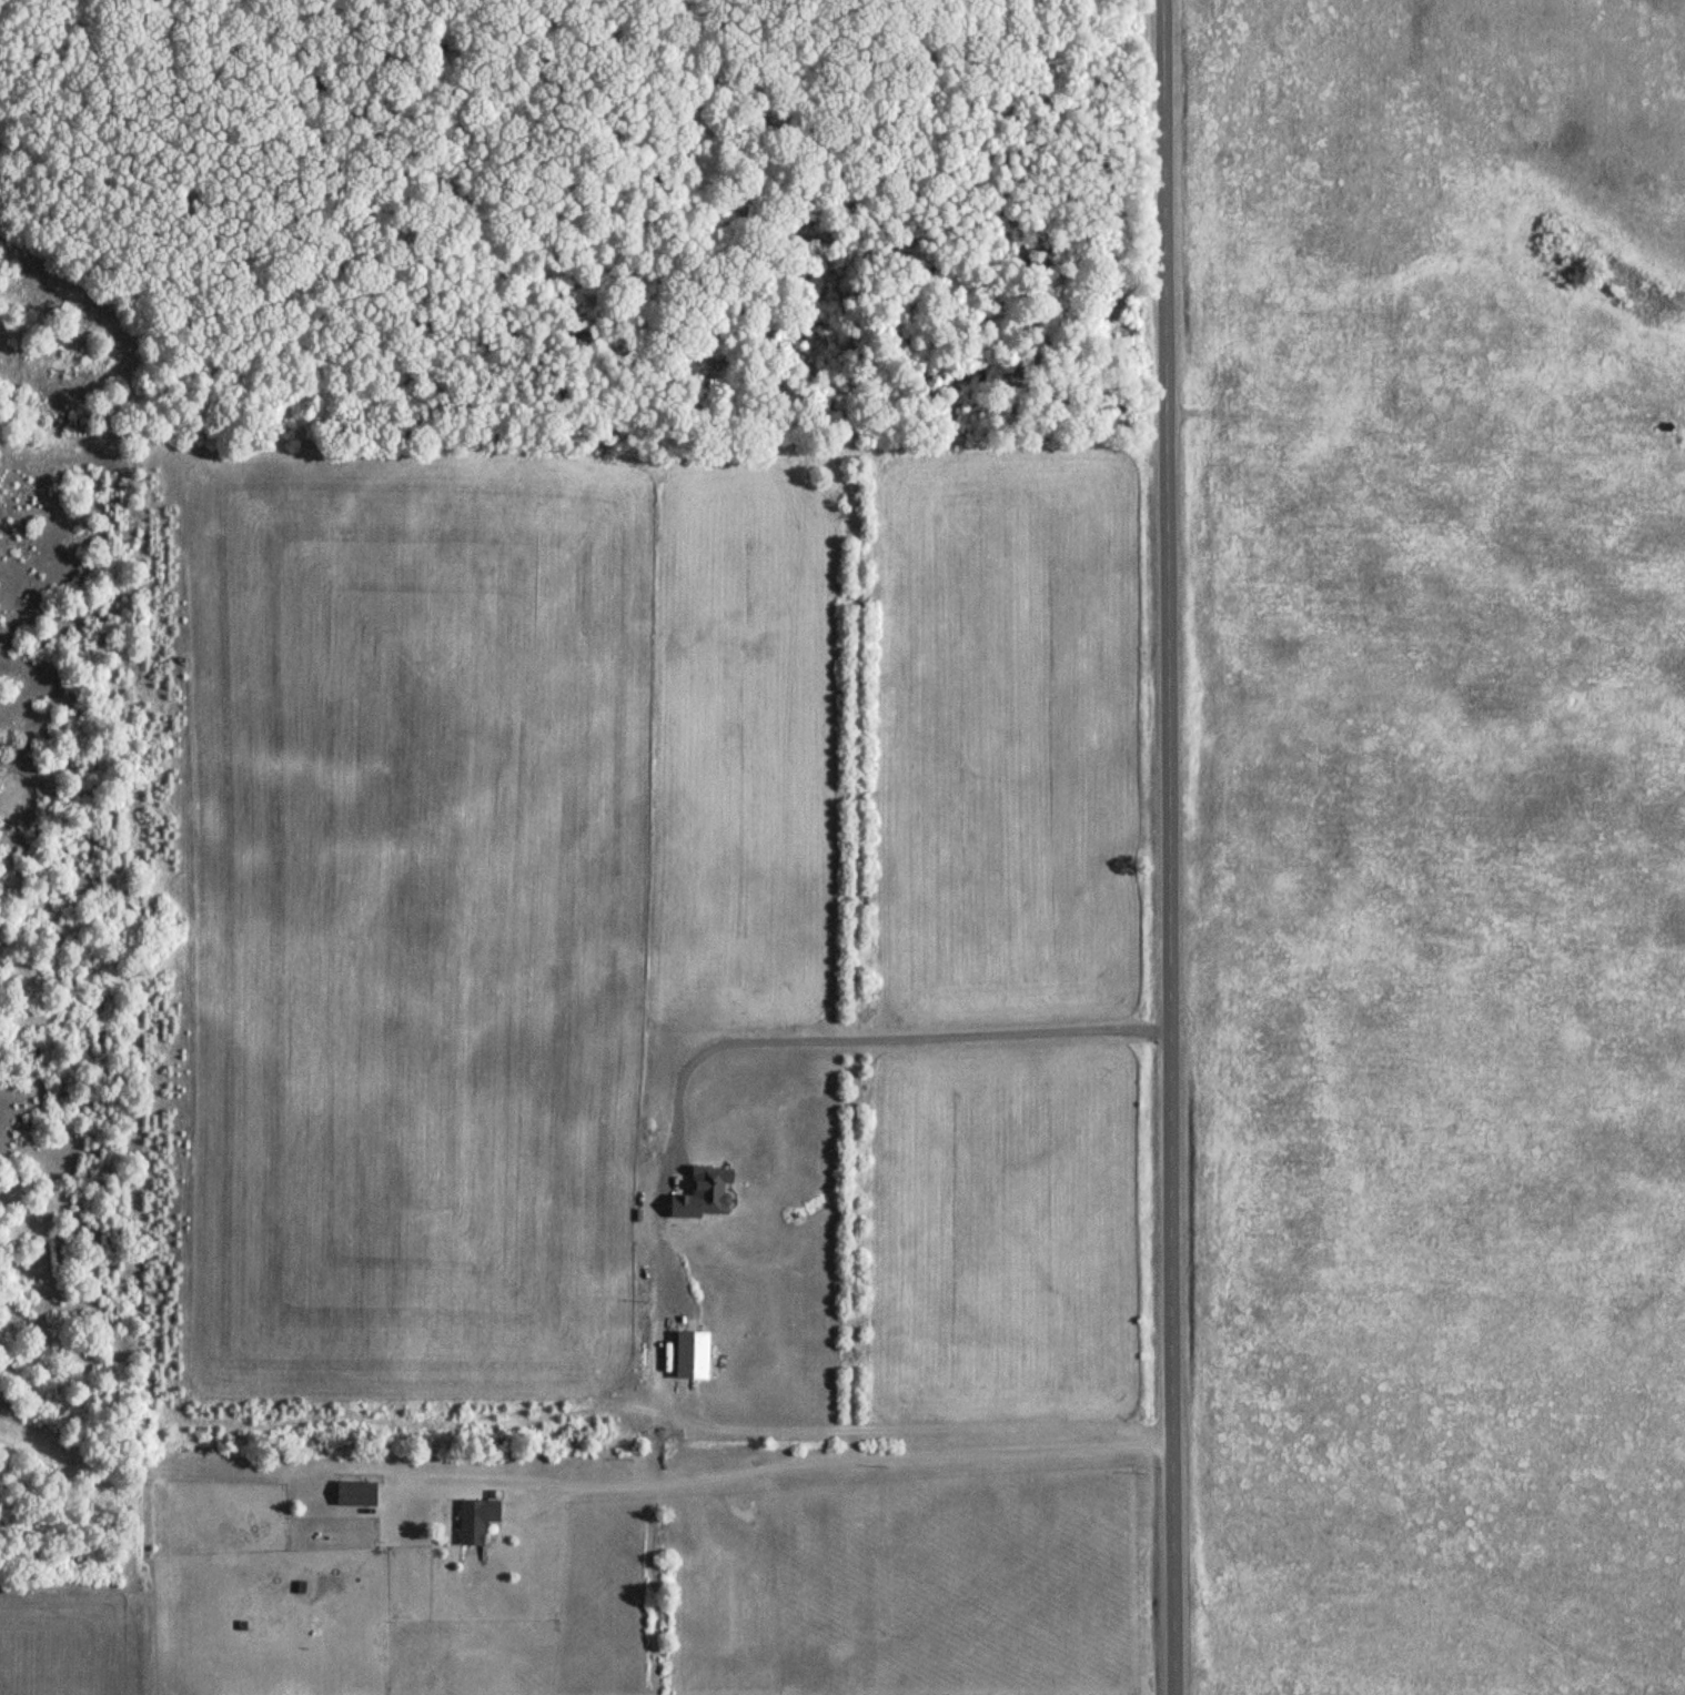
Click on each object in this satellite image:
road: (1414, 461)
road: (1171, 847)
road: (811, 1041)
road: (840, 1459)
building: (354, 1494)
building: (472, 1520)

